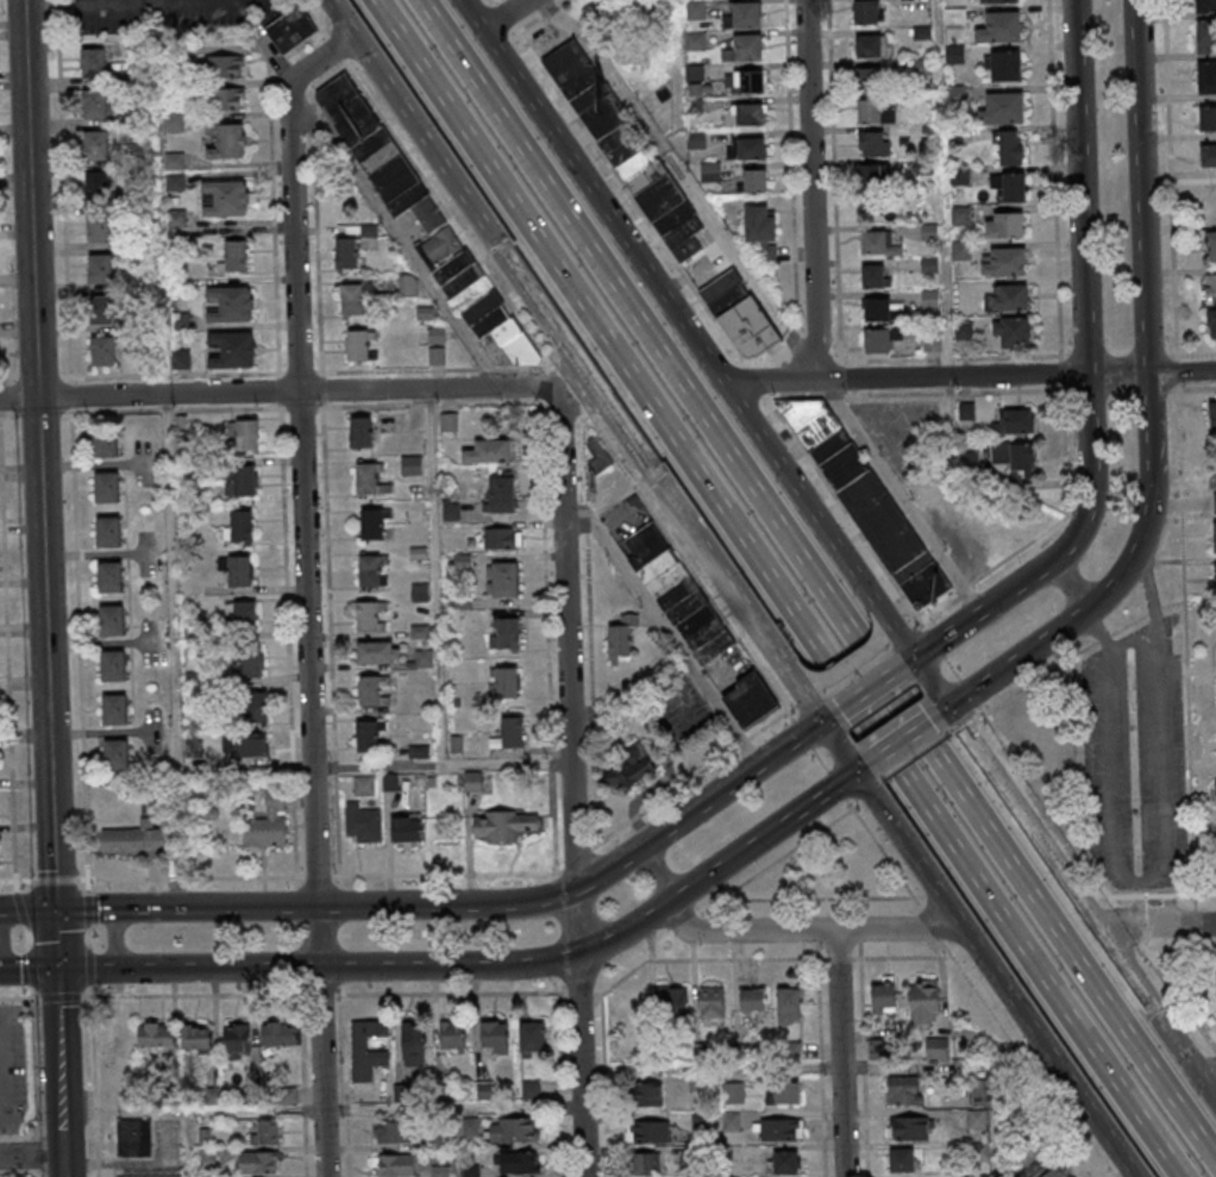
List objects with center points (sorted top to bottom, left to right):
building: (998, 0)
road: (168, 2)
road: (196, 4)
road: (96, 6)
building: (1204, 6)
building: (866, 11)
parking lot: (165, 14)
road: (502, 14)
building: (744, 14)
building: (954, 15)
building: (999, 27)
building: (287, 29)
building: (1206, 36)
building: (696, 40)
building: (873, 45)
building: (744, 48)
building: (170, 55)
road: (25, 63)
building: (89, 63)
building: (219, 65)
building: (1003, 65)
building: (870, 77)
building: (1206, 77)
building: (750, 81)
building: (219, 99)
building: (92, 105)
building: (1004, 107)
building: (344, 111)
building: (870, 111)
building: (746, 114)
building: (1208, 119)
building: (171, 123)
building: (224, 140)
building: (872, 143)
building: (368, 144)
building: (622, 144)
building: (93, 145)
building: (746, 148)
building: (1011, 148)
building: (1208, 156)
building: (377, 157)
building: (173, 162)
building: (710, 171)
building: (873, 176)
building: (390, 177)
building: (756, 180)
building: (173, 182)
road: (683, 183)
building: (95, 187)
building: (1013, 187)
road: (1080, 187)
road: (1141, 187)
road: (811, 189)
road: (591, 190)
building: (224, 198)
road: (292, 198)
building: (403, 200)
building: (425, 214)
building: (175, 219)
building: (1004, 224)
building: (96, 227)
building: (366, 231)
building: (761, 231)
building: (175, 234)
road: (401, 239)
building: (878, 243)
building: (439, 246)
building: (1211, 246)
building: (343, 252)
building: (232, 257)
building: (1004, 261)
building: (451, 267)
building: (98, 269)
building: (873, 276)
building: (175, 280)
building: (460, 280)
building: (406, 286)
building: (1210, 287)
building: (1007, 298)
building: (349, 299)
building: (228, 303)
building: (478, 308)
building: (882, 308)
building: (99, 311)
building: (741, 312)
building: (422, 313)
building: (177, 321)
building: (488, 321)
building: (1211, 325)
building: (964, 330)
building: (1013, 331)
building: (434, 336)
building: (877, 339)
building: (932, 343)
building: (357, 345)
building: (507, 345)
building: (230, 350)
building: (100, 351)
building: (434, 356)
building: (178, 359)
road: (969, 376)
road: (593, 384)
road: (443, 388)
road: (149, 395)
building: (1214, 415)
building: (413, 421)
building: (445, 422)
building: (1015, 422)
building: (177, 424)
building: (242, 433)
building: (357, 433)
building: (101, 442)
road: (1179, 447)
building: (183, 450)
building: (485, 451)
building: (1016, 456)
building: (595, 457)
building: (408, 465)
building: (366, 480)
building: (238, 481)
building: (102, 487)
road: (431, 494)
building: (497, 494)
building: (1215, 494)
road: (898, 496)
building: (867, 501)
building: (447, 513)
road: (1086, 513)
road: (622, 515)
road: (40, 519)
building: (370, 524)
building: (236, 527)
building: (105, 532)
building: (1215, 536)
building: (496, 539)
building: (644, 545)
road: (834, 546)
building: (415, 555)
building: (458, 561)
building: (653, 568)
building: (233, 570)
building: (369, 570)
building: (106, 577)
building: (1215, 577)
building: (500, 581)
building: (664, 581)
road: (1118, 581)
road: (816, 582)
road: (1068, 584)
road: (703, 588)
road: (777, 588)
building: (418, 593)
building: (673, 594)
building: (459, 602)
building: (683, 607)
building: (237, 618)
building: (366, 618)
building: (107, 621)
building: (692, 622)
road: (664, 627)
road: (883, 627)
building: (189, 631)
building: (416, 632)
road: (949, 632)
building: (502, 634)
building: (702, 636)
building: (619, 638)
building: (710, 649)
building: (374, 653)
road: (785, 658)
traffic signals: (913, 658)
building: (421, 659)
building: (246, 662)
road: (7, 663)
road: (845, 664)
road: (903, 664)
road: (1063, 665)
building: (108, 666)
building: (190, 678)
building: (500, 684)
building: (370, 690)
road: (866, 690)
building: (746, 702)
building: (452, 703)
building: (247, 707)
traffic signals: (947, 709)
building: (111, 710)
road: (938, 714)
road: (829, 715)
traffic signals: (822, 721)
building: (609, 724)
building: (507, 733)
building: (364, 737)
road: (901, 740)
park: (1041, 741)
road: (971, 744)
building: (453, 745)
building: (243, 746)
building: (192, 749)
building: (415, 752)
building: (112, 756)
road: (913, 756)
road: (1072, 756)
road: (440, 765)
road: (865, 765)
building: (629, 769)
traffic signals: (857, 771)
road: (571, 774)
building: (414, 781)
building: (470, 781)
building: (428, 782)
building: (387, 783)
road: (312, 784)
road: (835, 785)
building: (361, 787)
building: (1215, 794)
road: (1045, 807)
building: (209, 814)
building: (263, 825)
building: (361, 825)
building: (500, 826)
building: (402, 831)
building: (130, 840)
road: (792, 847)
road: (662, 869)
road: (458, 874)
road: (1160, 874)
road: (56, 878)
road: (17, 879)
road: (591, 879)
road: (87, 883)
road: (1204, 895)
road: (1149, 896)
road: (87, 907)
road: (184, 908)
road: (20, 909)
road: (26, 910)
traffic signals: (55, 910)
road: (1122, 924)
road: (1155, 926)
road: (808, 931)
road: (115, 934)
road: (859, 934)
road: (29, 935)
road: (817, 935)
road: (88, 937)
road: (1105, 939)
road: (1, 940)
road: (55, 940)
road: (588, 949)
road: (1180, 954)
road: (902, 956)
road: (839, 957)
road: (704, 958)
road: (89, 965)
road: (31, 966)
road: (220, 969)
road: (88, 970)
road: (27, 971)
traffic signals: (56, 971)
road: (996, 973)
road: (449, 993)
road: (581, 993)
road: (203, 995)
road: (18, 997)
road: (57, 997)
building: (879, 998)
building: (920, 1001)
road: (1177, 1001)
building: (709, 1003)
building: (750, 1003)
building: (669, 1004)
building: (785, 1007)
building: (275, 1035)
building: (151, 1037)
building: (192, 1038)
building: (449, 1038)
building: (491, 1038)
building: (528, 1040)
building: (233, 1041)
building: (895, 1044)
building: (409, 1045)
building: (120, 1046)
building: (934, 1048)
building: (364, 1050)
building: (876, 1050)
building: (696, 1052)
building: (789, 1052)
road: (840, 1052)
building: (659, 1053)
building: (740, 1053)
road: (864, 1058)
road: (821, 1059)
road: (33, 1063)
road: (1204, 1064)
parking lot: (10, 1070)
road: (94, 1071)
road: (61, 1073)
road: (302, 1079)
road: (345, 1079)
road: (562, 1084)
road: (604, 1084)
building: (695, 1084)
building: (973, 1089)
building: (482, 1091)
building: (528, 1091)
building: (901, 1091)
building: (250, 1094)
building: (403, 1094)
building: (440, 1094)
building: (731, 1094)
building: (779, 1094)
building: (644, 1095)
building: (283, 1096)
building: (209, 1097)
road: (156, 1110)
building: (973, 1120)
building: (697, 1122)
building: (728, 1122)
building: (466, 1127)
building: (907, 1129)
building: (512, 1131)
building: (775, 1131)
building: (390, 1133)
building: (648, 1133)
building: (262, 1134)
building: (202, 1138)
building: (131, 1139)
building: (439, 1141)
building: (977, 1152)
road: (37, 1154)
building: (696, 1154)
road: (32, 1156)
building: (203, 1157)
building: (898, 1162)
road: (96, 1163)
building: (255, 1164)
building: (514, 1164)
building: (640, 1164)
building: (783, 1164)
building: (394, 1165)
parking lot: (153, 1171)
building: (438, 1171)
building: (469, 1171)
road: (98, 1172)
building: (1055, 1172)
road: (38, 1175)
building: (982, 1176)

